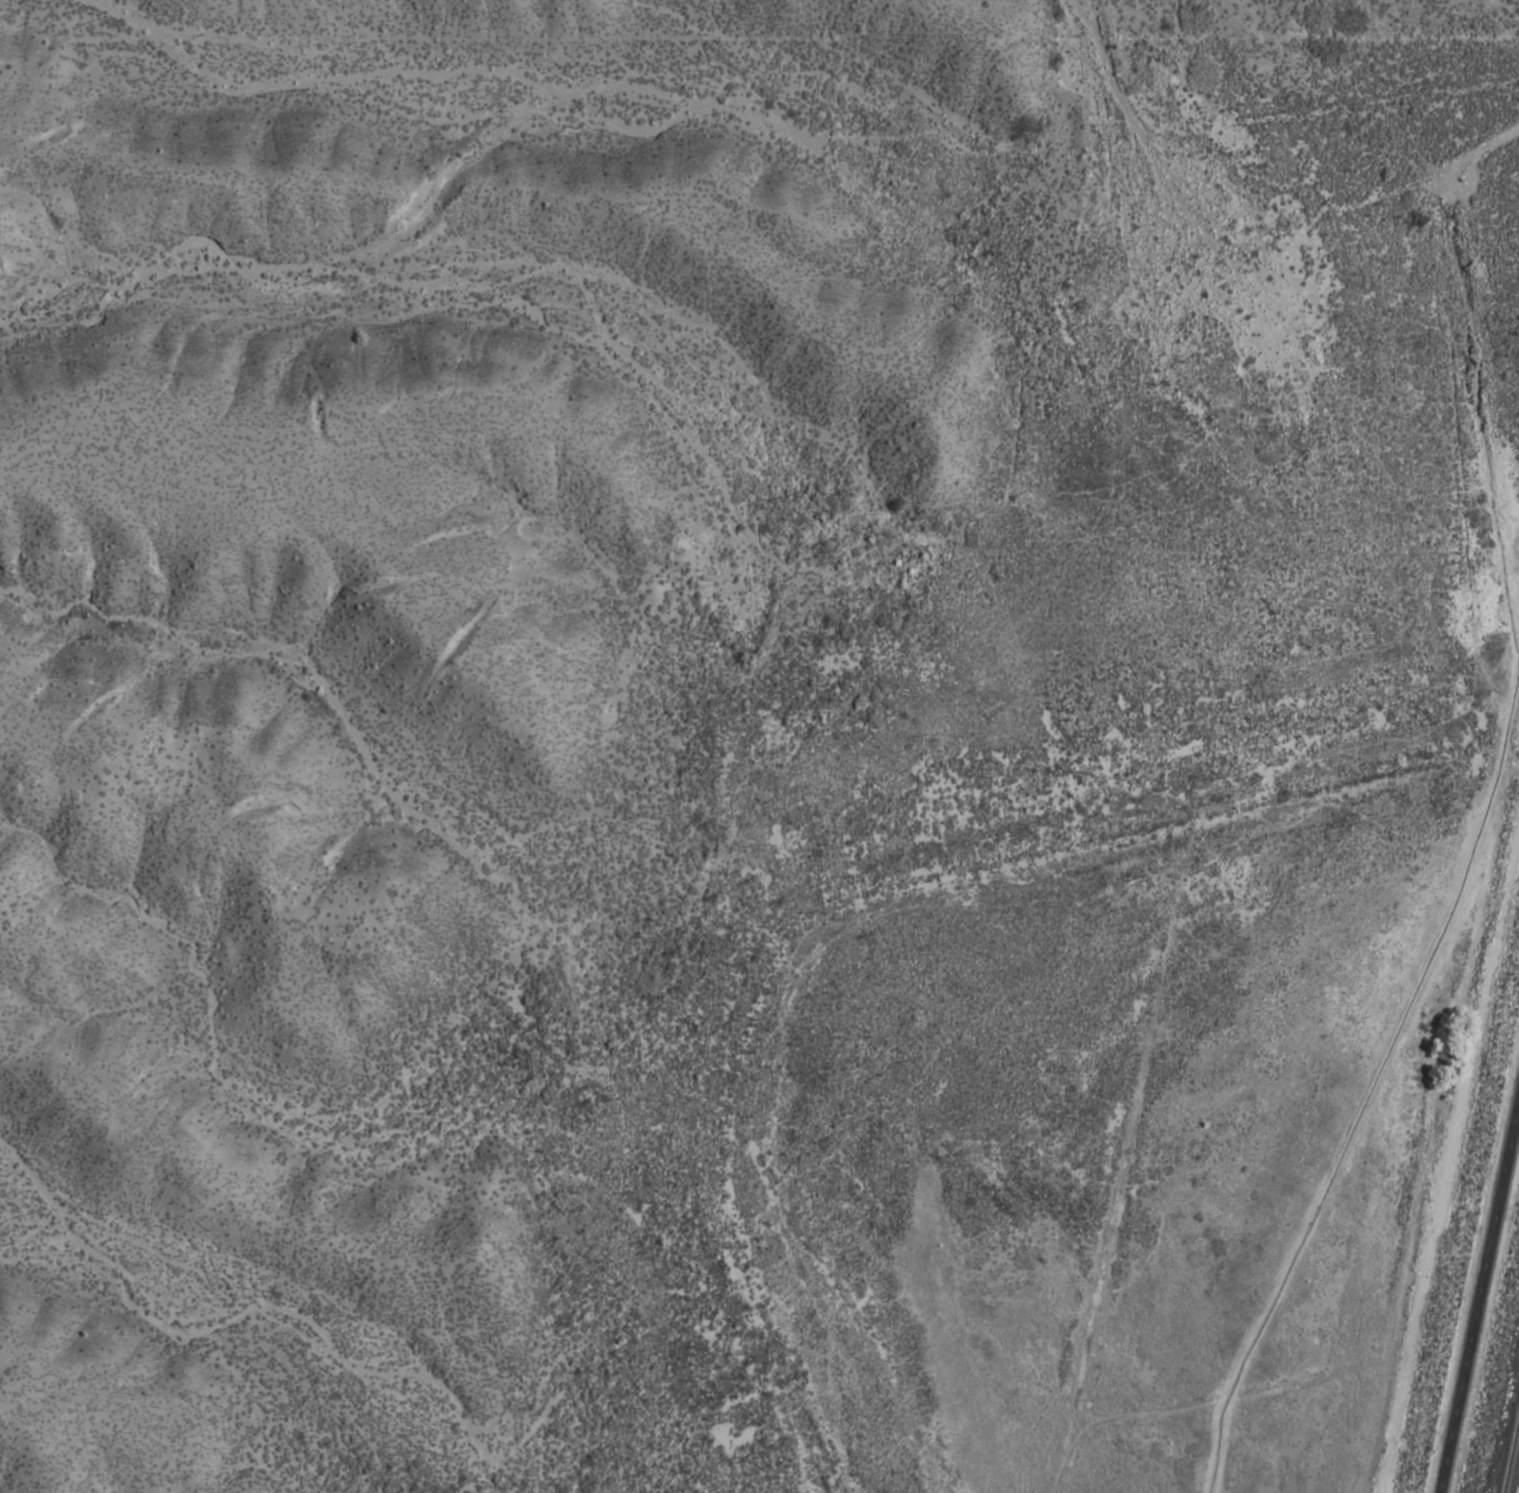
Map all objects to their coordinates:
road: (1473, 171)
road: (1443, 175)
road: (1464, 1088)
road: (1480, 1303)
road: (1399, 1411)
railway: (1512, 1458)

